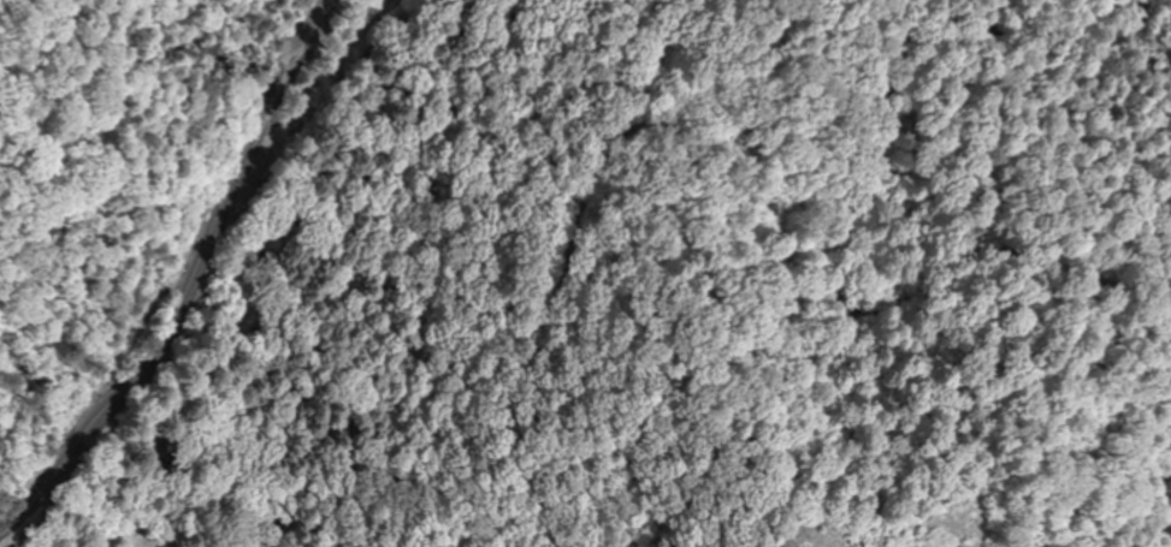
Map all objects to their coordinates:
road: (188, 280)

